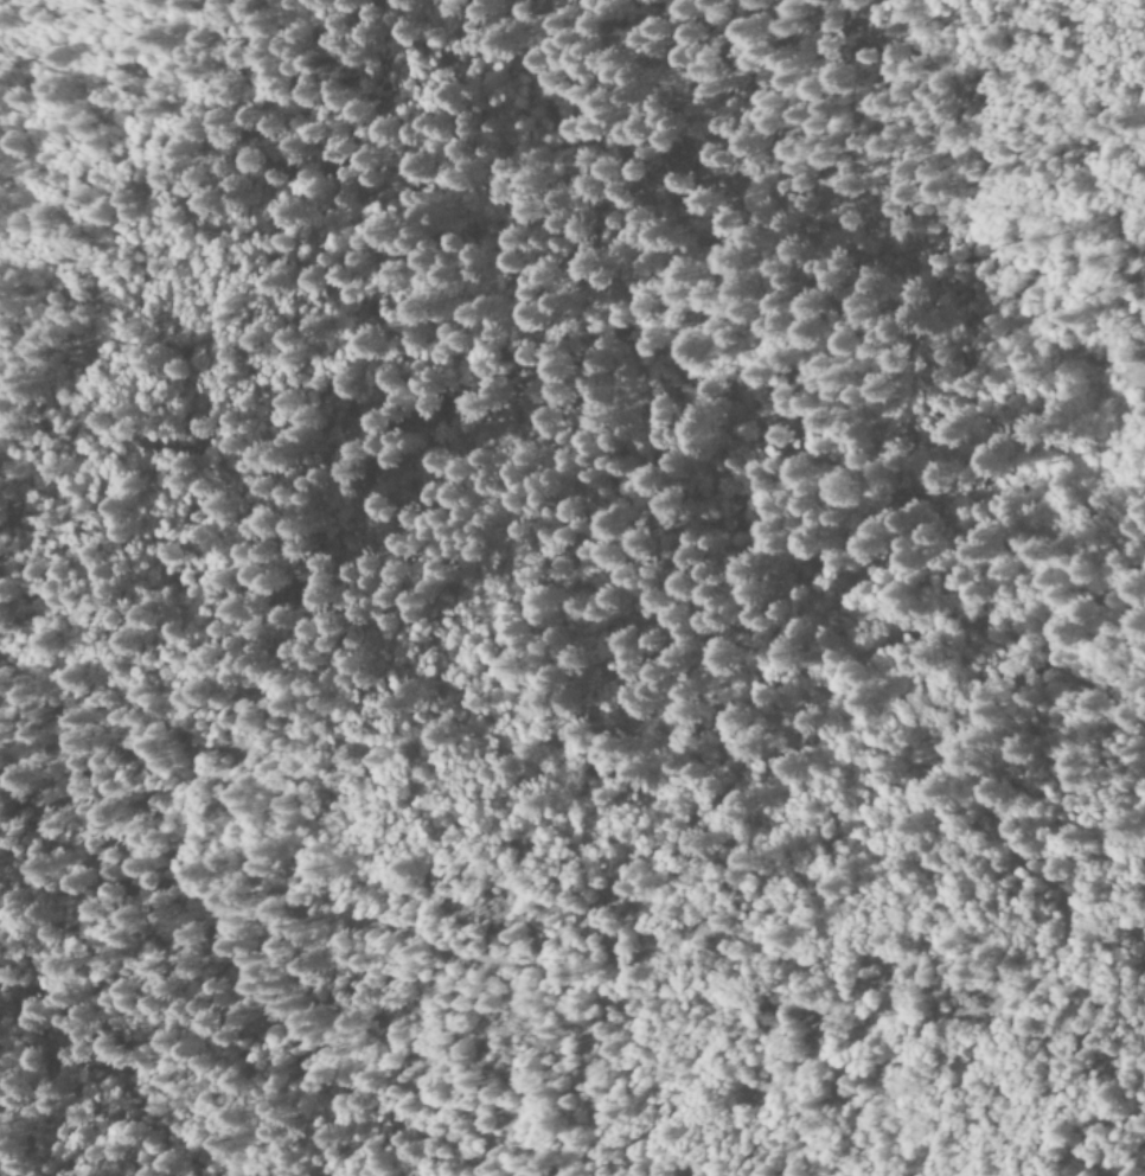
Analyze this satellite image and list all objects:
road: (1018, 490)

